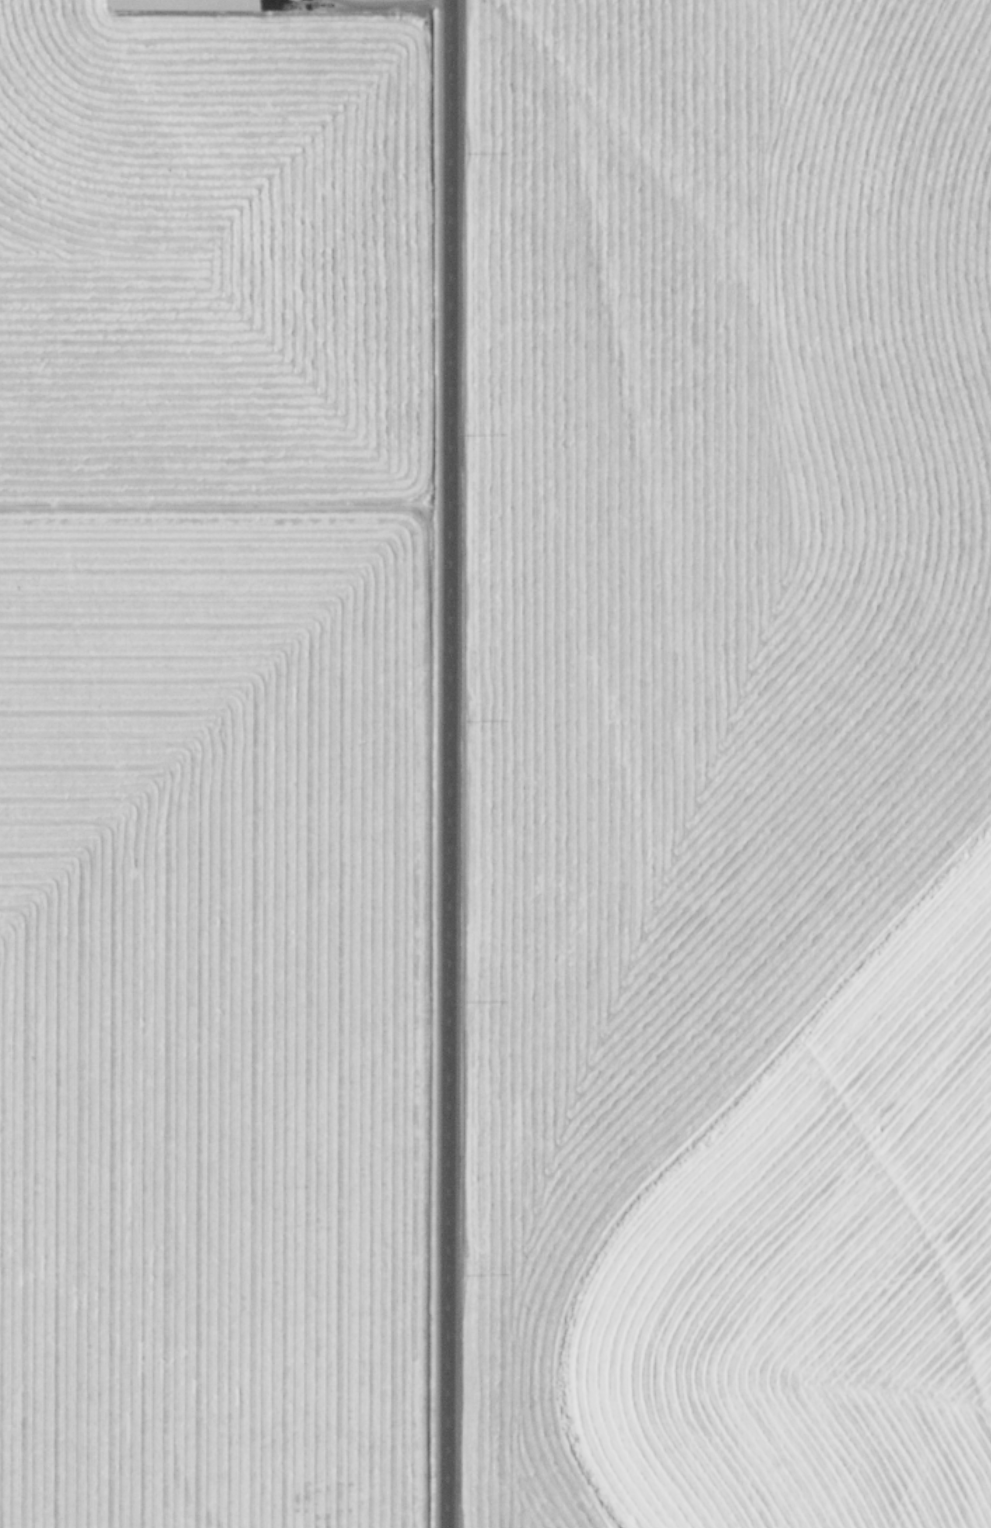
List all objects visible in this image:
building: (182, 4)
road: (436, 763)
crop: (734, 763)
crop: (193, 765)

